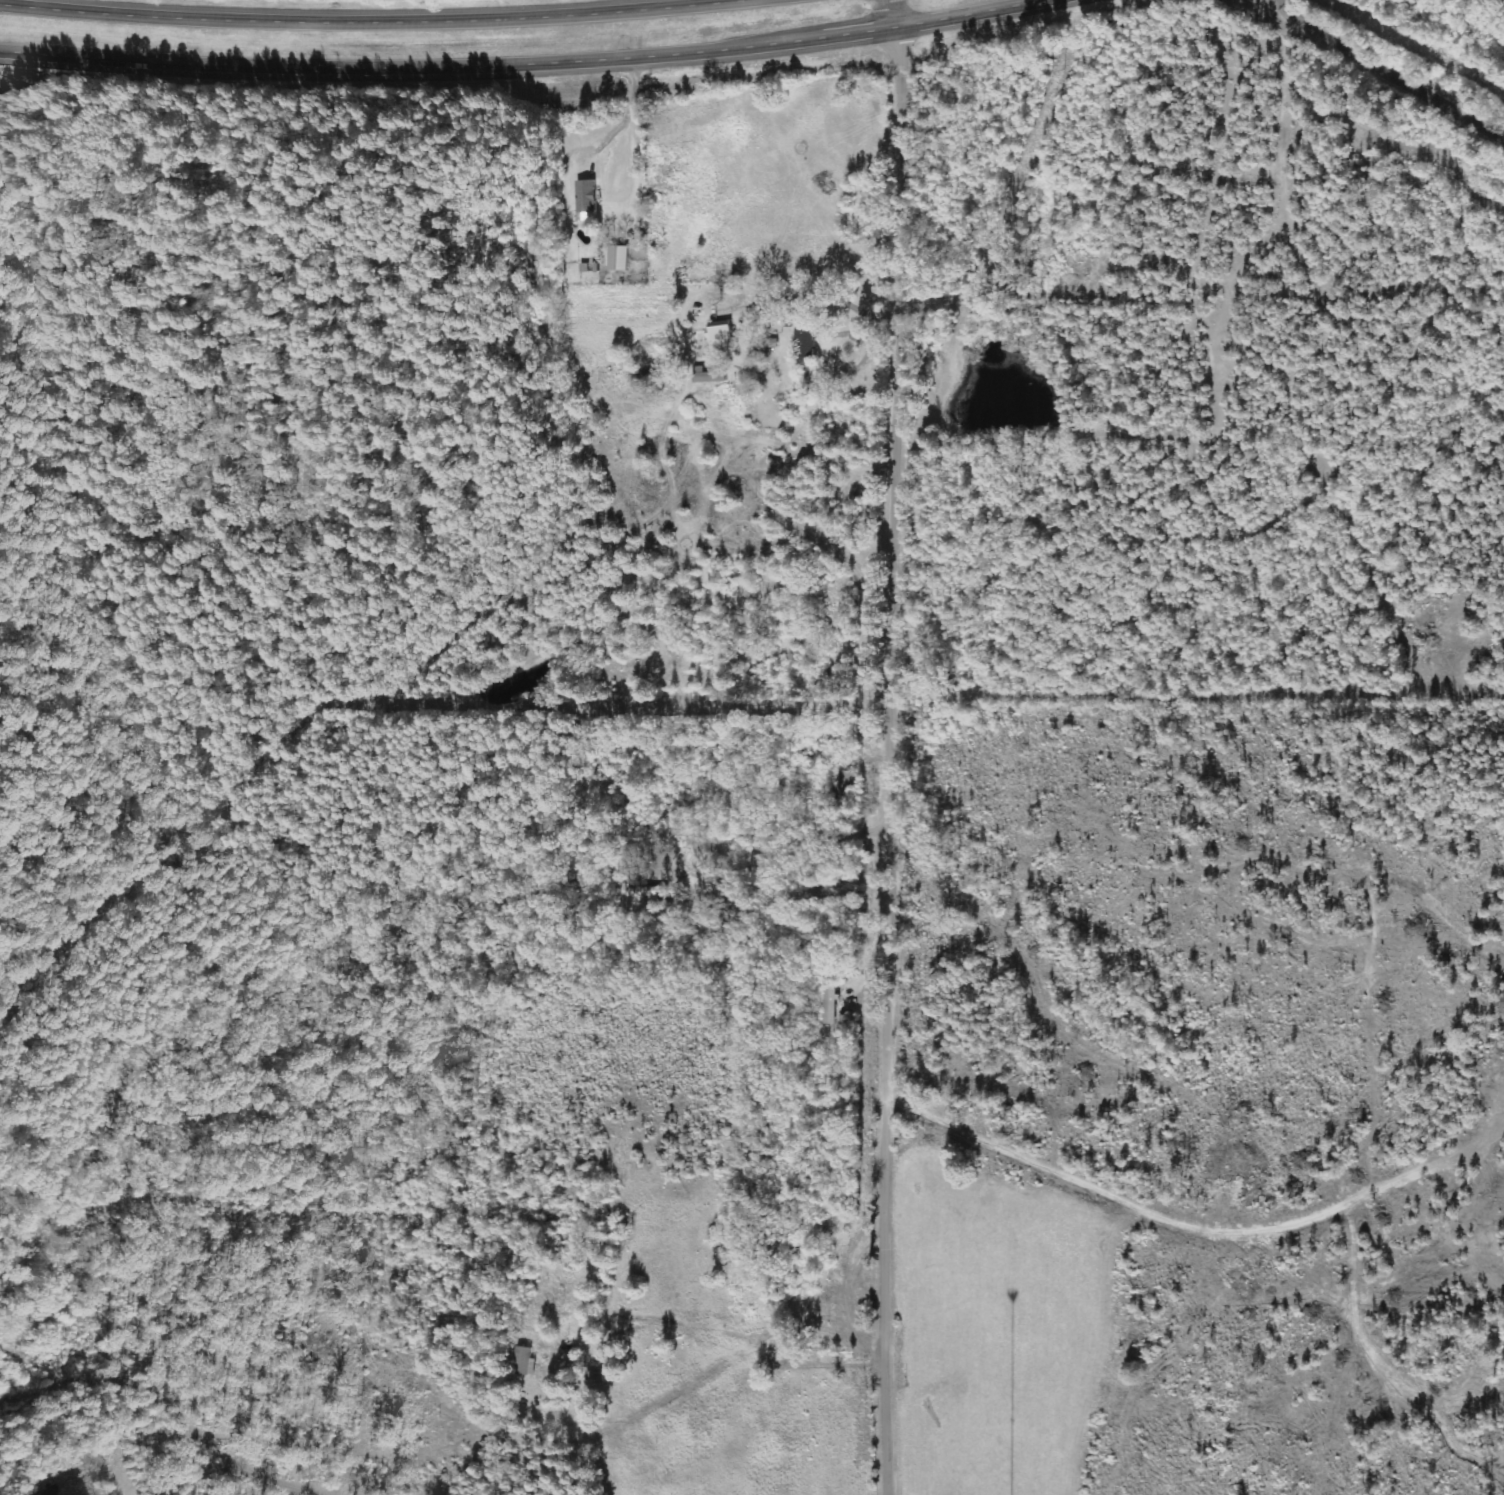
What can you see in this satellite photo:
road: (893, 13)
road: (366, 21)
road: (520, 62)
road: (1387, 71)
building: (590, 196)
building: (622, 258)
building: (725, 332)
building: (807, 344)
building: (607, 360)
building: (712, 376)
park: (245, 443)
road: (885, 760)
building: (645, 892)
building: (526, 1361)

